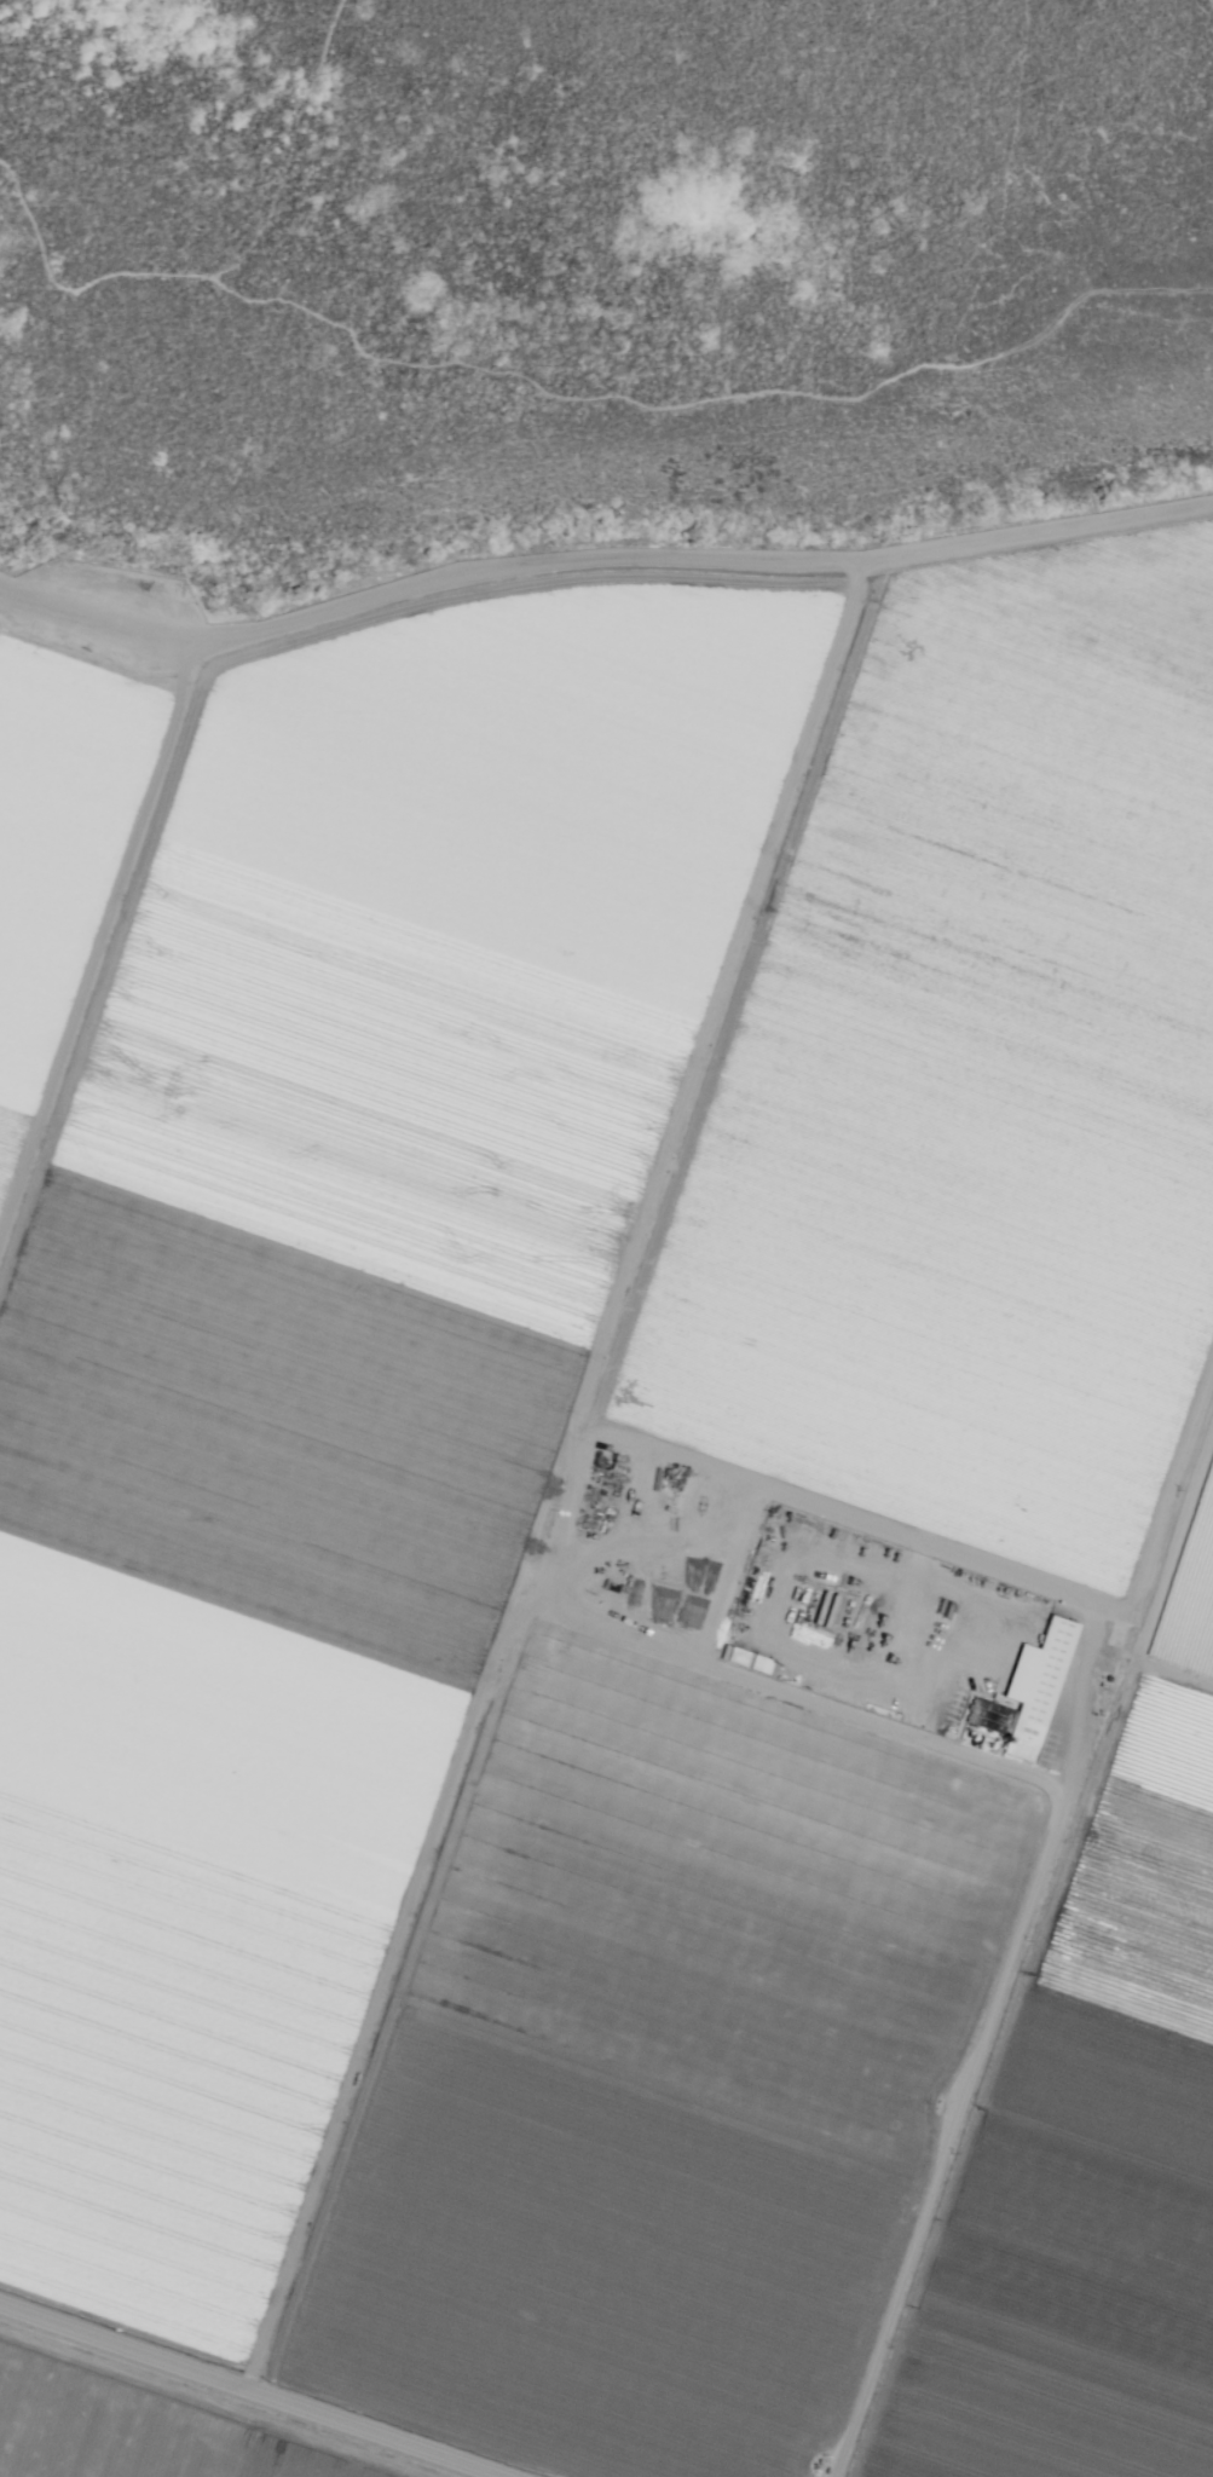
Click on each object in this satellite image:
crop: (60, 847)
crop: (972, 1084)
crop: (327, 1356)
building: (746, 1661)
building: (1029, 1692)
crop: (662, 2075)
road: (970, 2088)
crop: (1096, 2132)
road: (249, 2392)
crop: (129, 2431)

